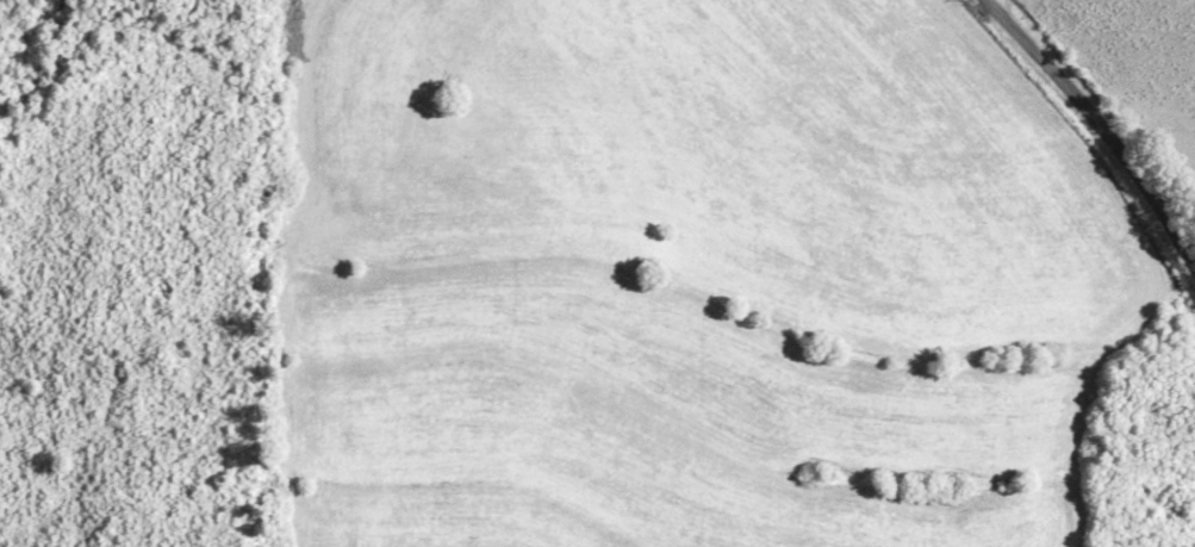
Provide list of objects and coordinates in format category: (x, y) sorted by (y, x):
road: (1096, 126)

